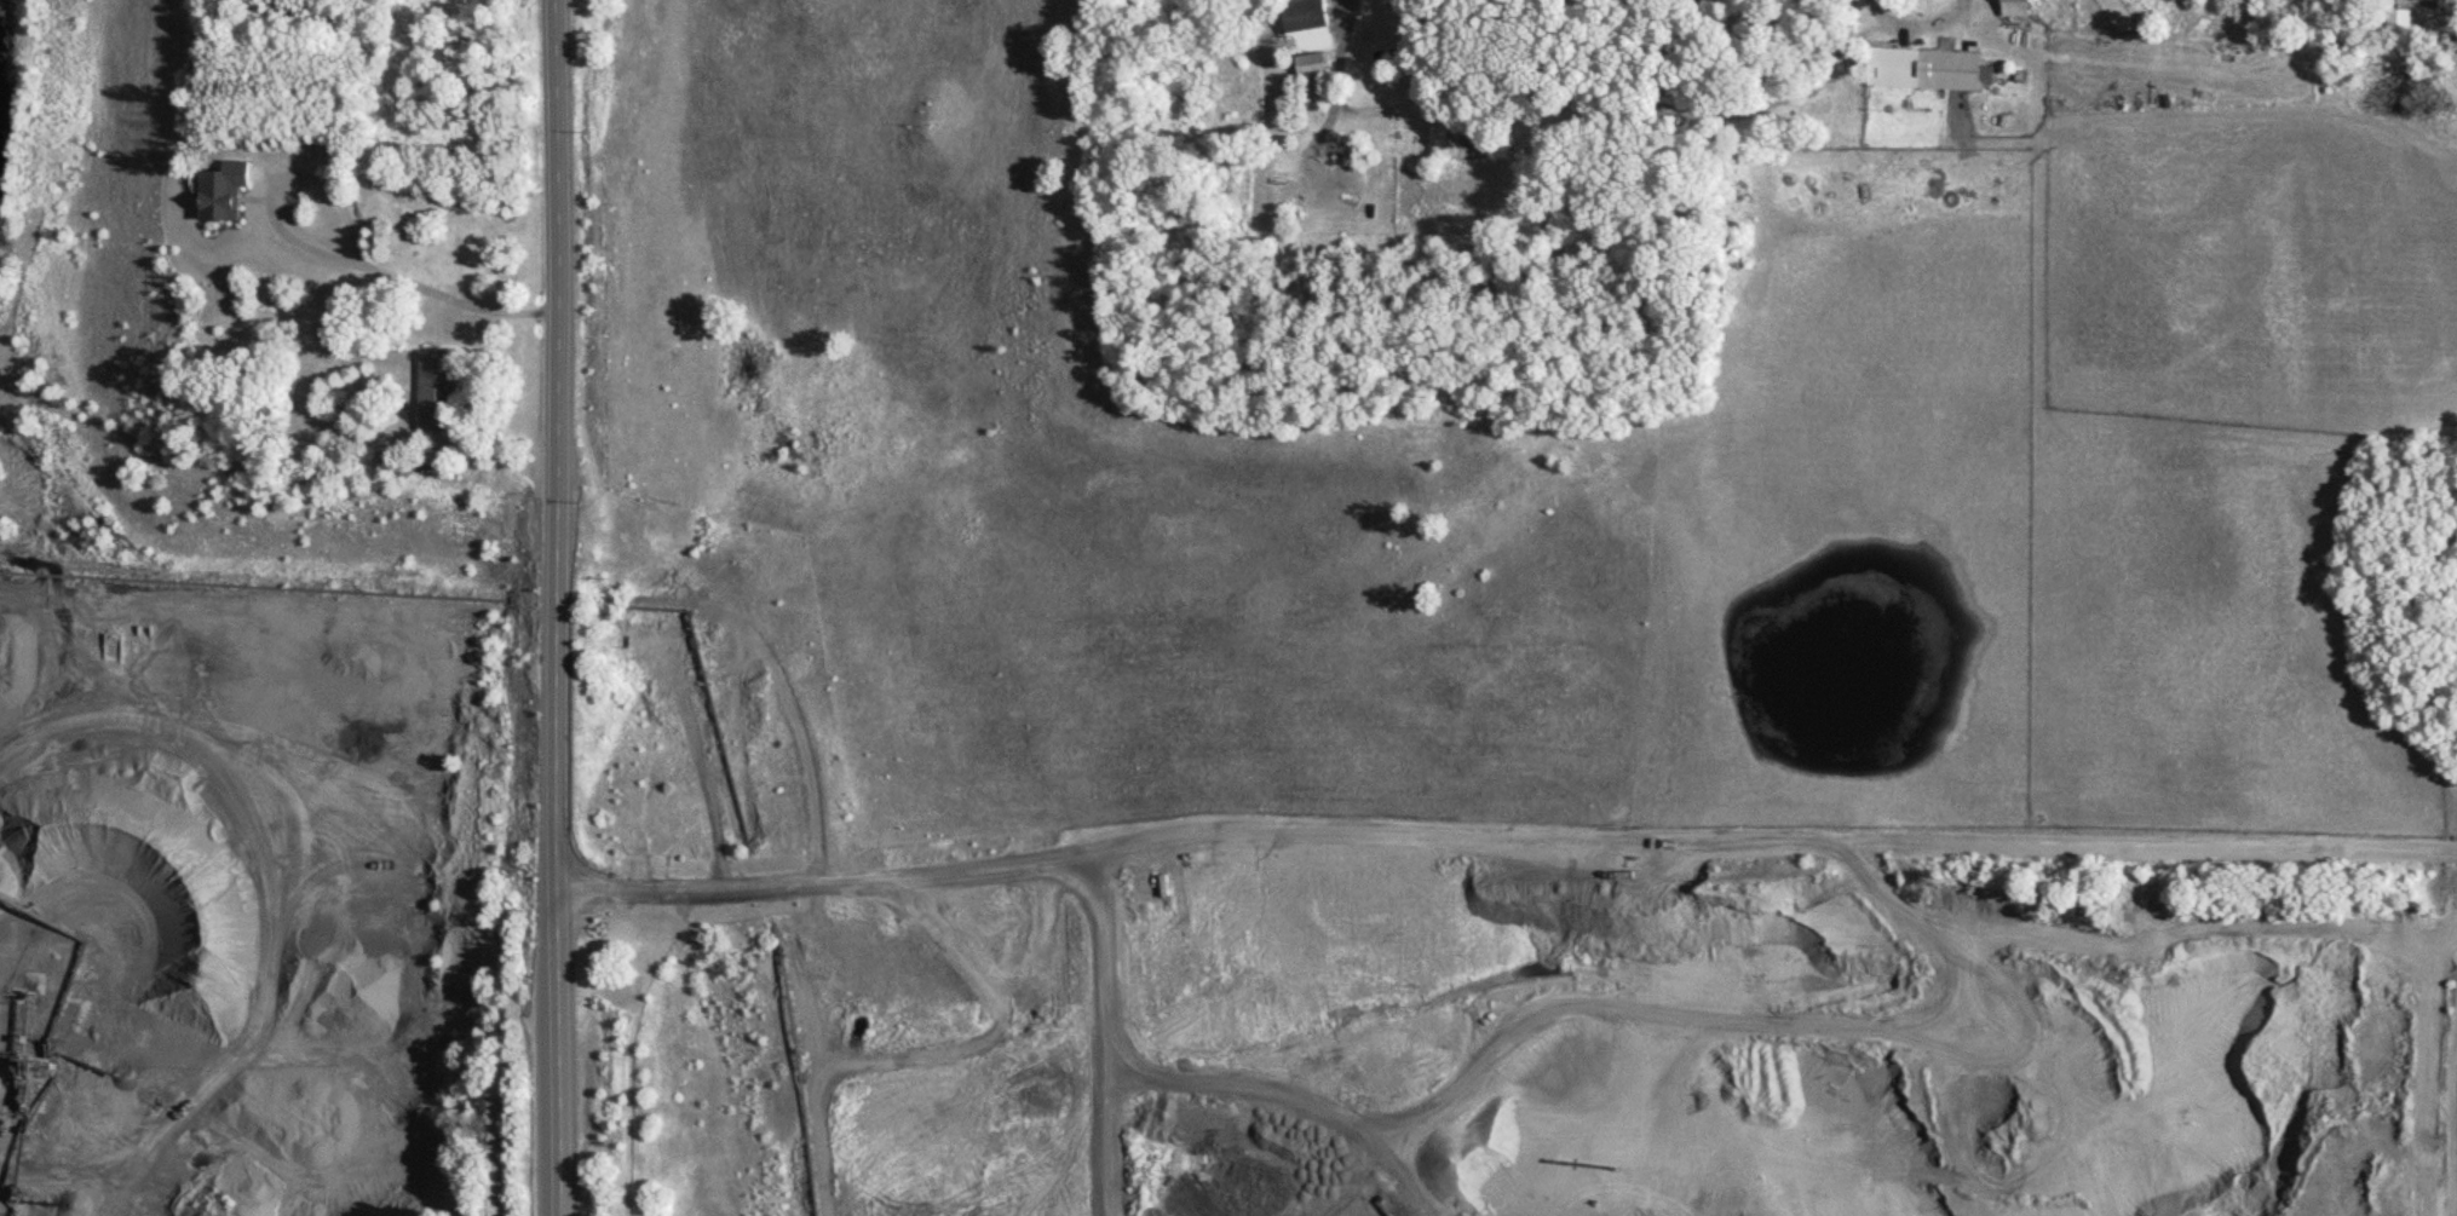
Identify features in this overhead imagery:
building: (2016, 10)
road: (1915, 21)
building: (1308, 40)
road: (1341, 77)
building: (1442, 143)
building: (1473, 143)
building: (221, 196)
road: (318, 254)
building: (437, 394)
road: (566, 607)
road: (1155, 915)

